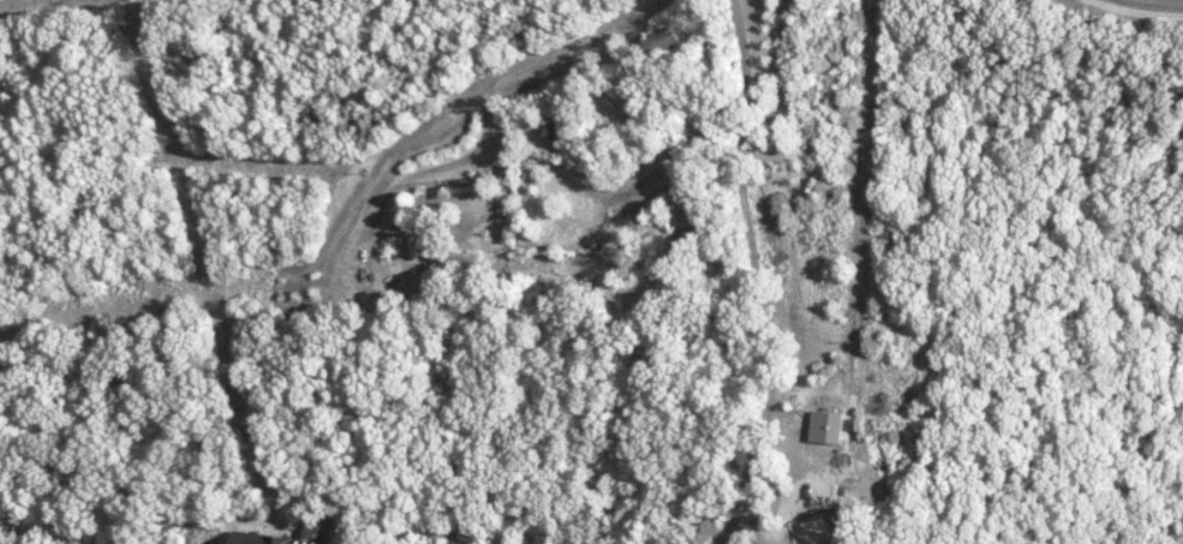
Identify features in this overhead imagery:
road: (1143, 8)
building: (661, 38)
road: (759, 275)
building: (826, 425)
building: (269, 538)

